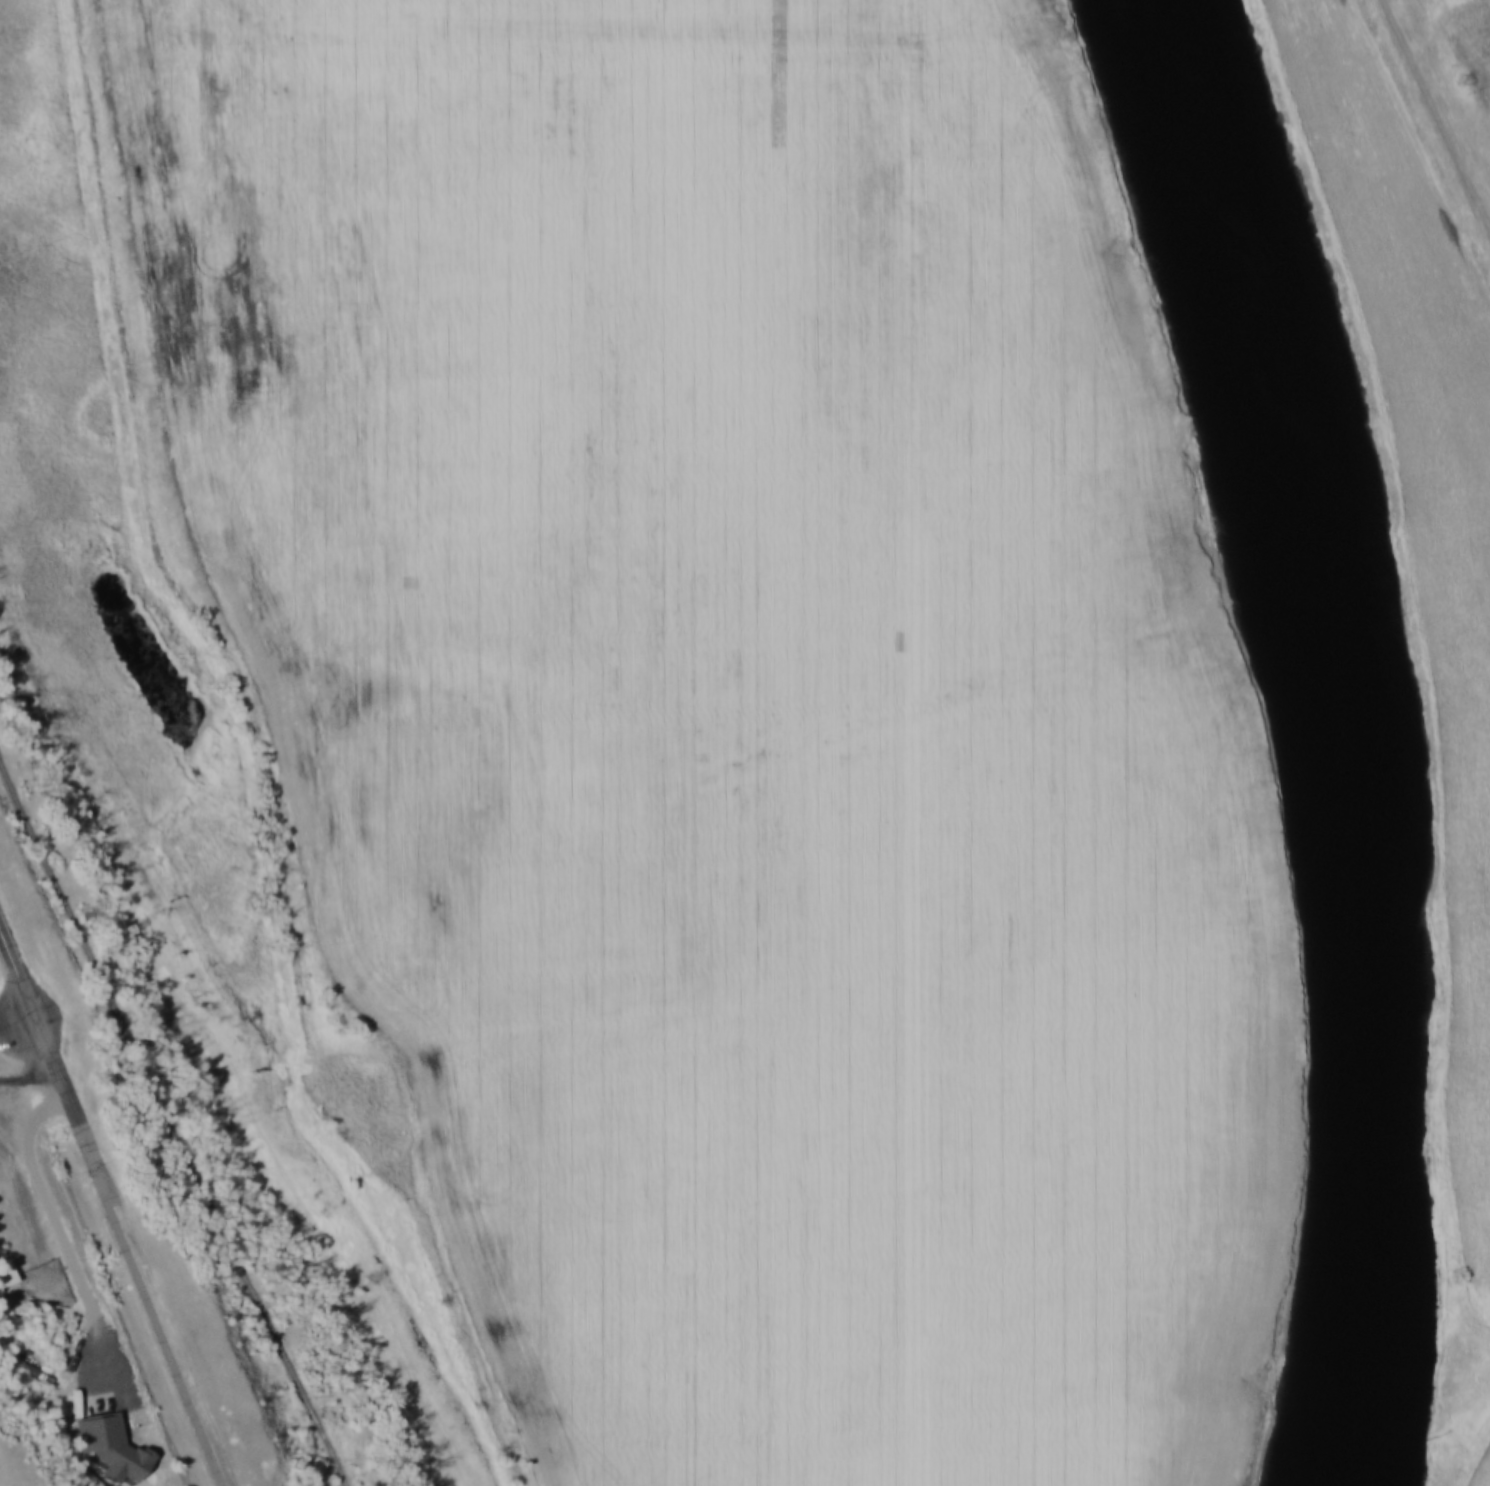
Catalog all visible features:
river: (1366, 732)
road: (19, 986)
railway: (174, 1123)
road: (129, 1261)

